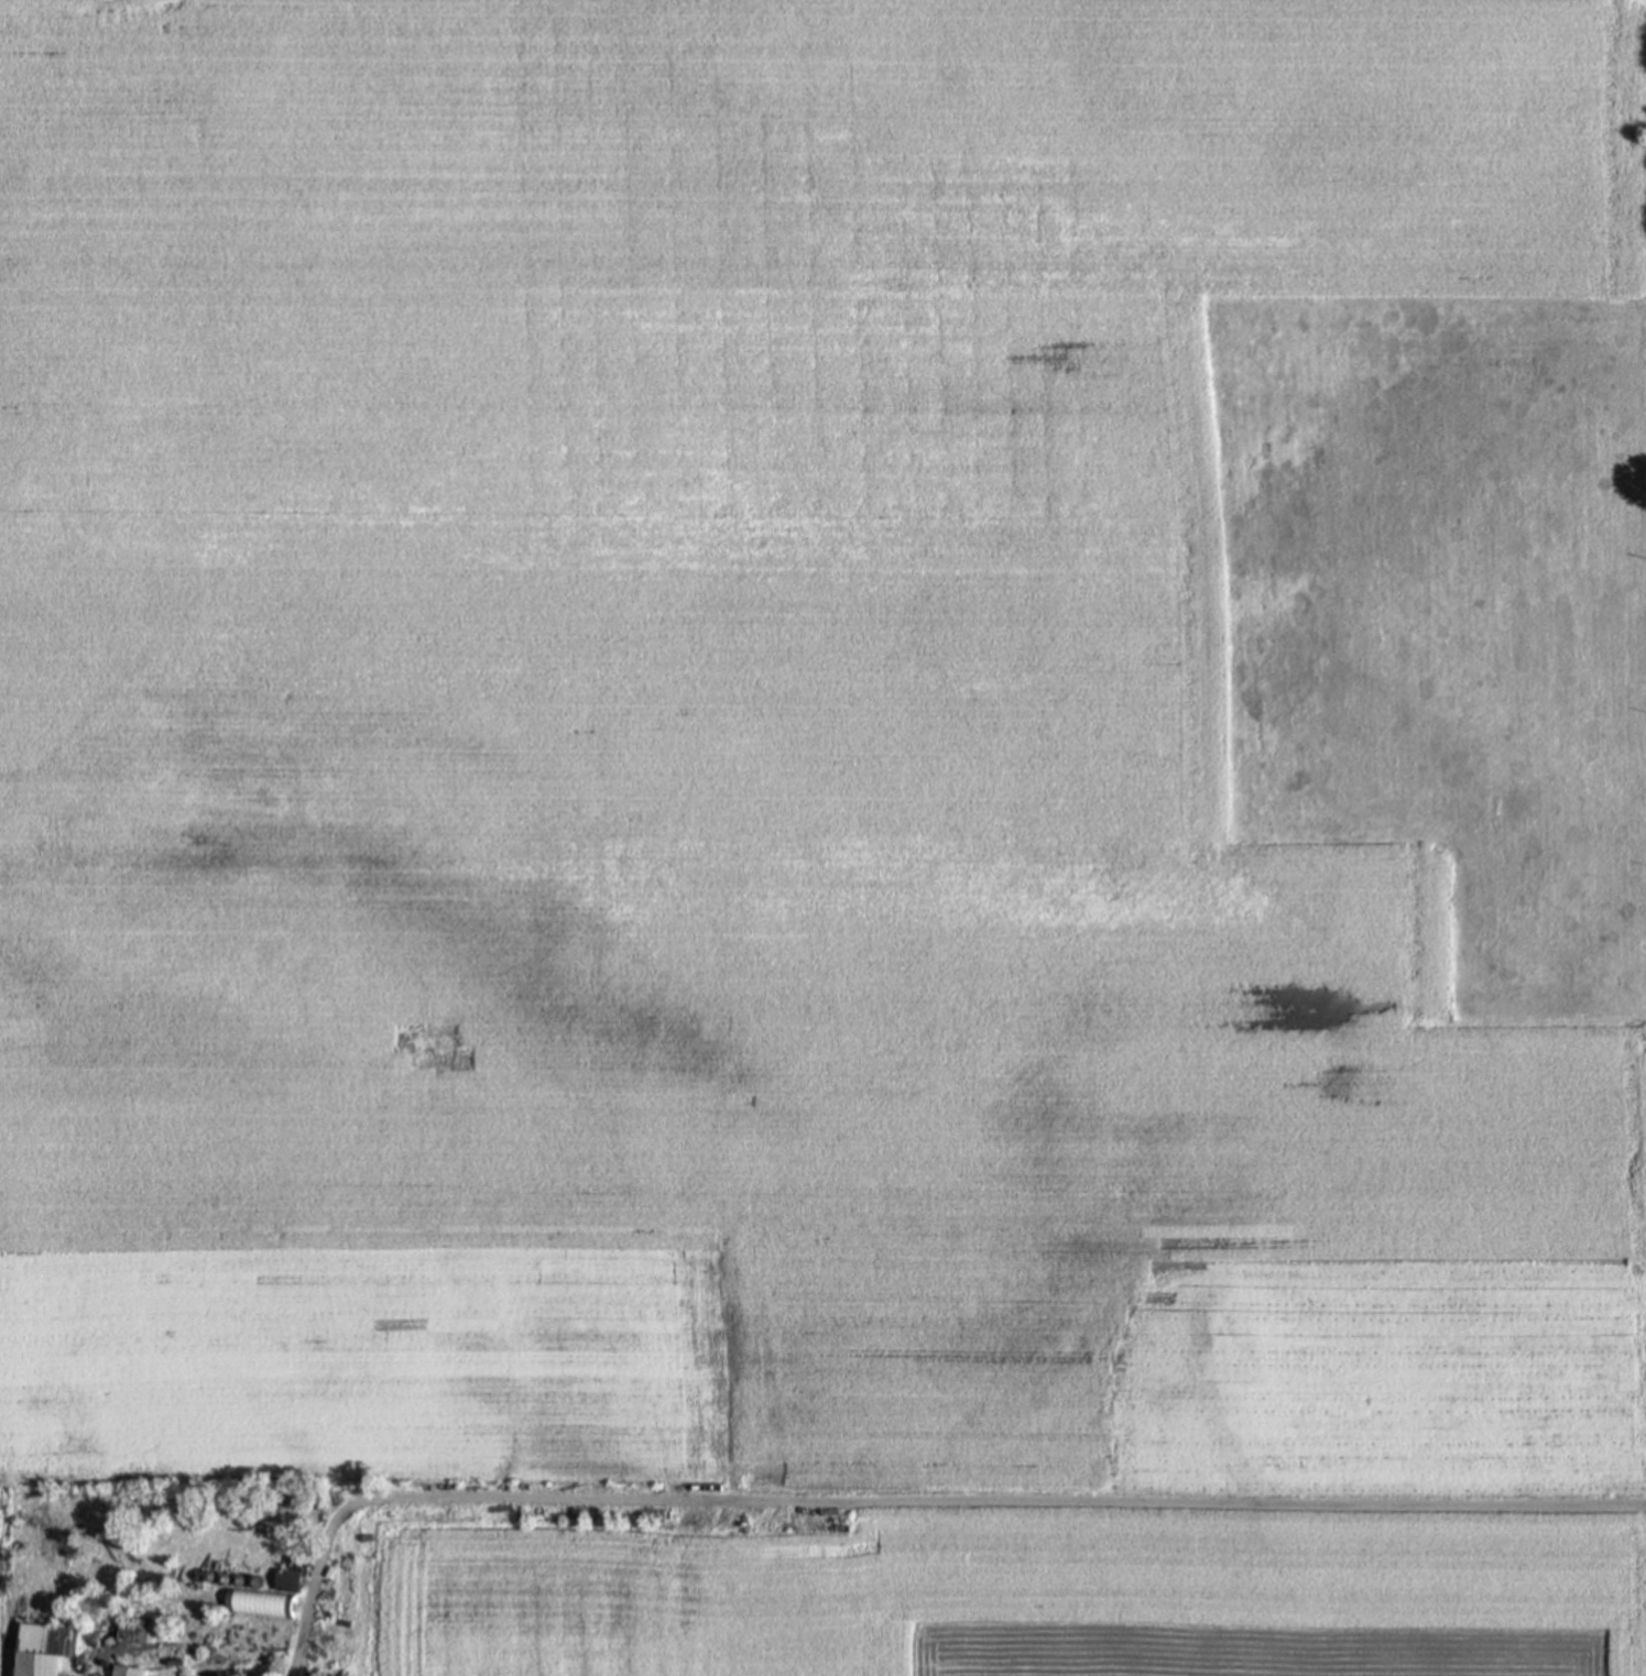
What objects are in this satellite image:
building: (281, 1580)
building: (132, 1630)
building: (40, 1647)
building: (122, 1670)

